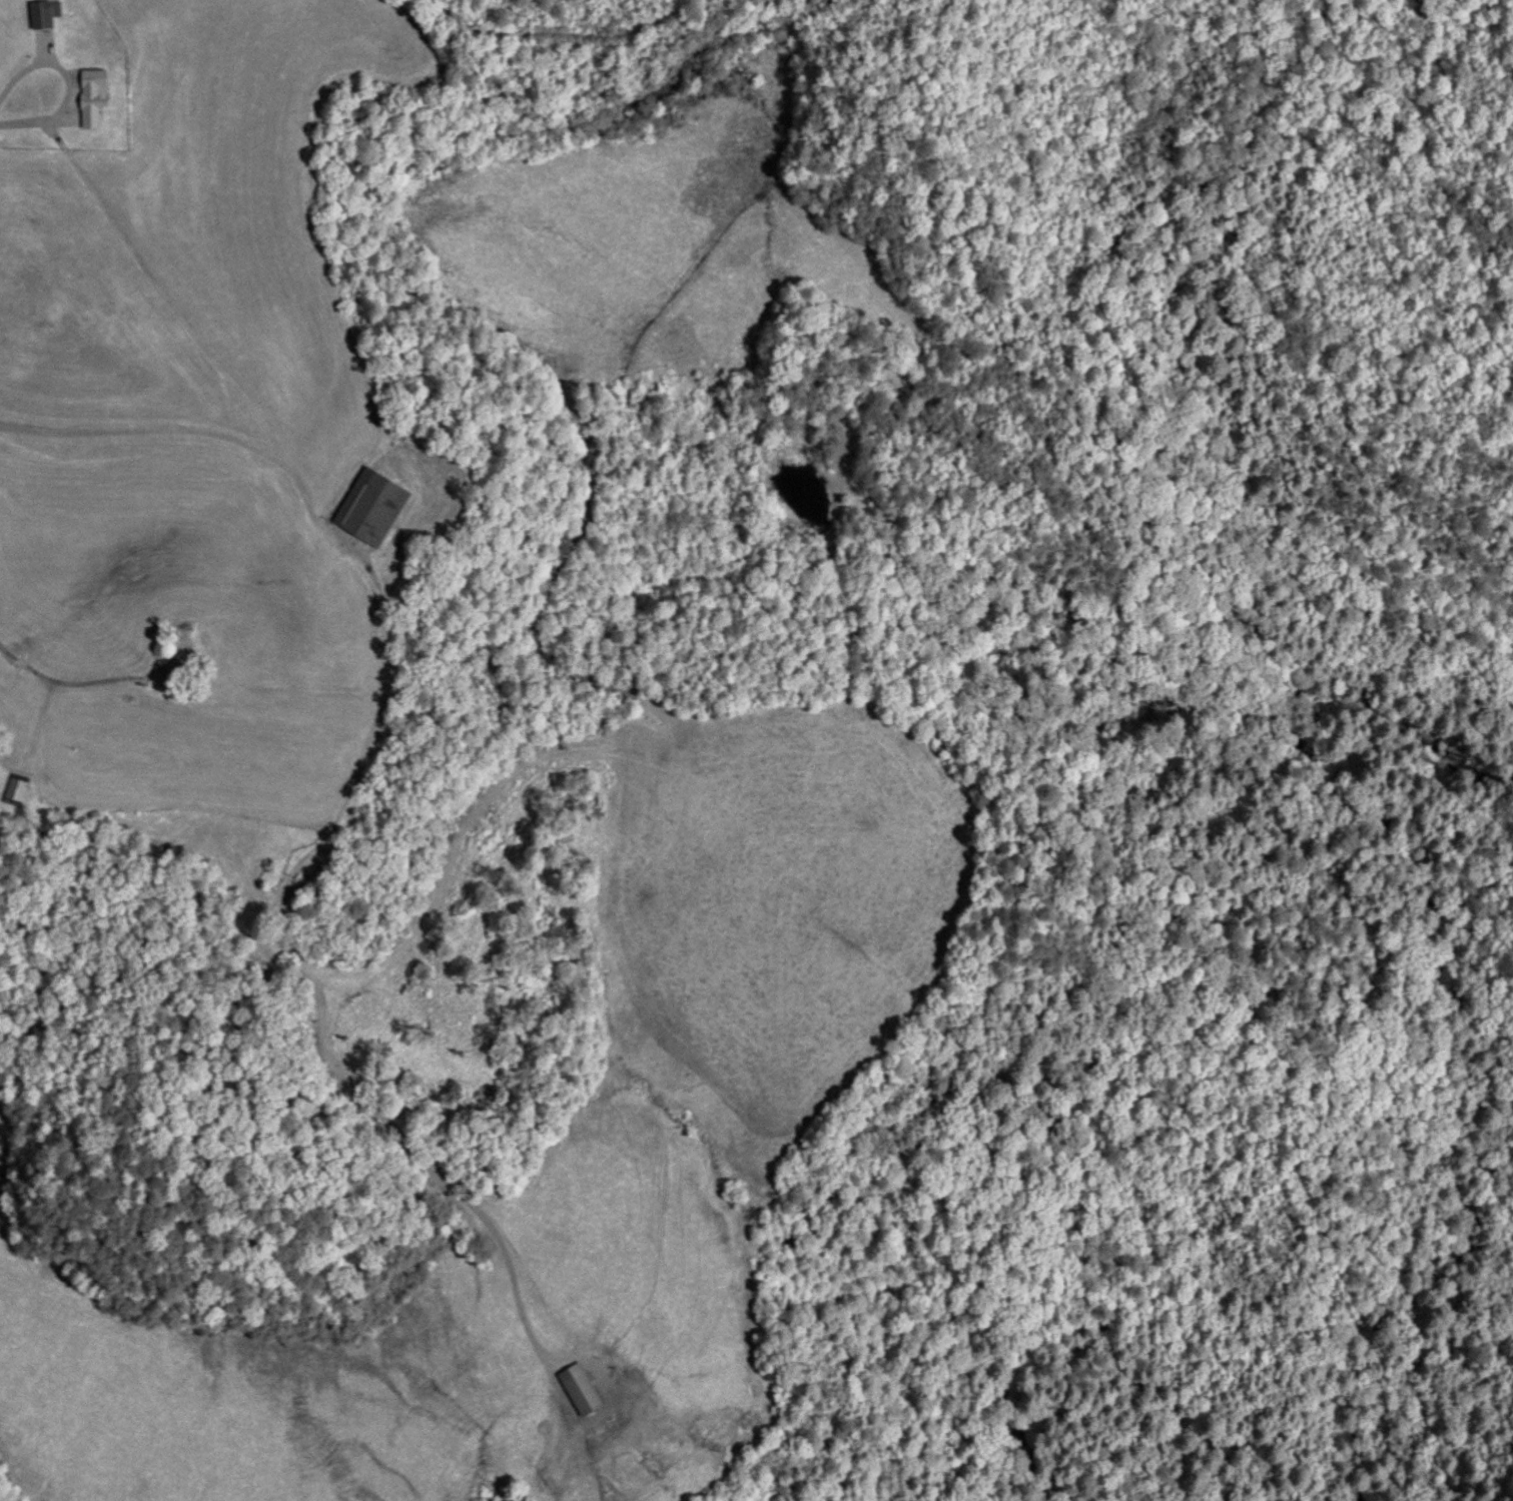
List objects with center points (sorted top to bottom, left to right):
building: (52, 16)
road: (64, 95)
building: (101, 98)
road: (151, 294)
road: (164, 442)
building: (370, 510)
river: (1464, 955)
building: (588, 1391)
river: (1108, 1441)

